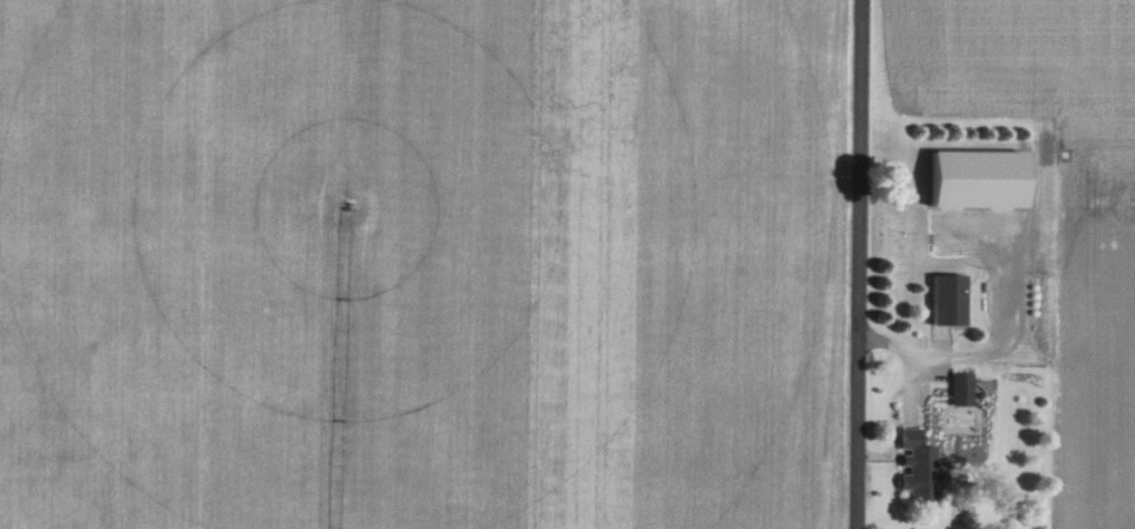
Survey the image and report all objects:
building: (1017, 192)
road: (859, 264)
building: (946, 298)
road: (1004, 326)
road: (912, 351)
building: (959, 389)
building: (916, 467)

